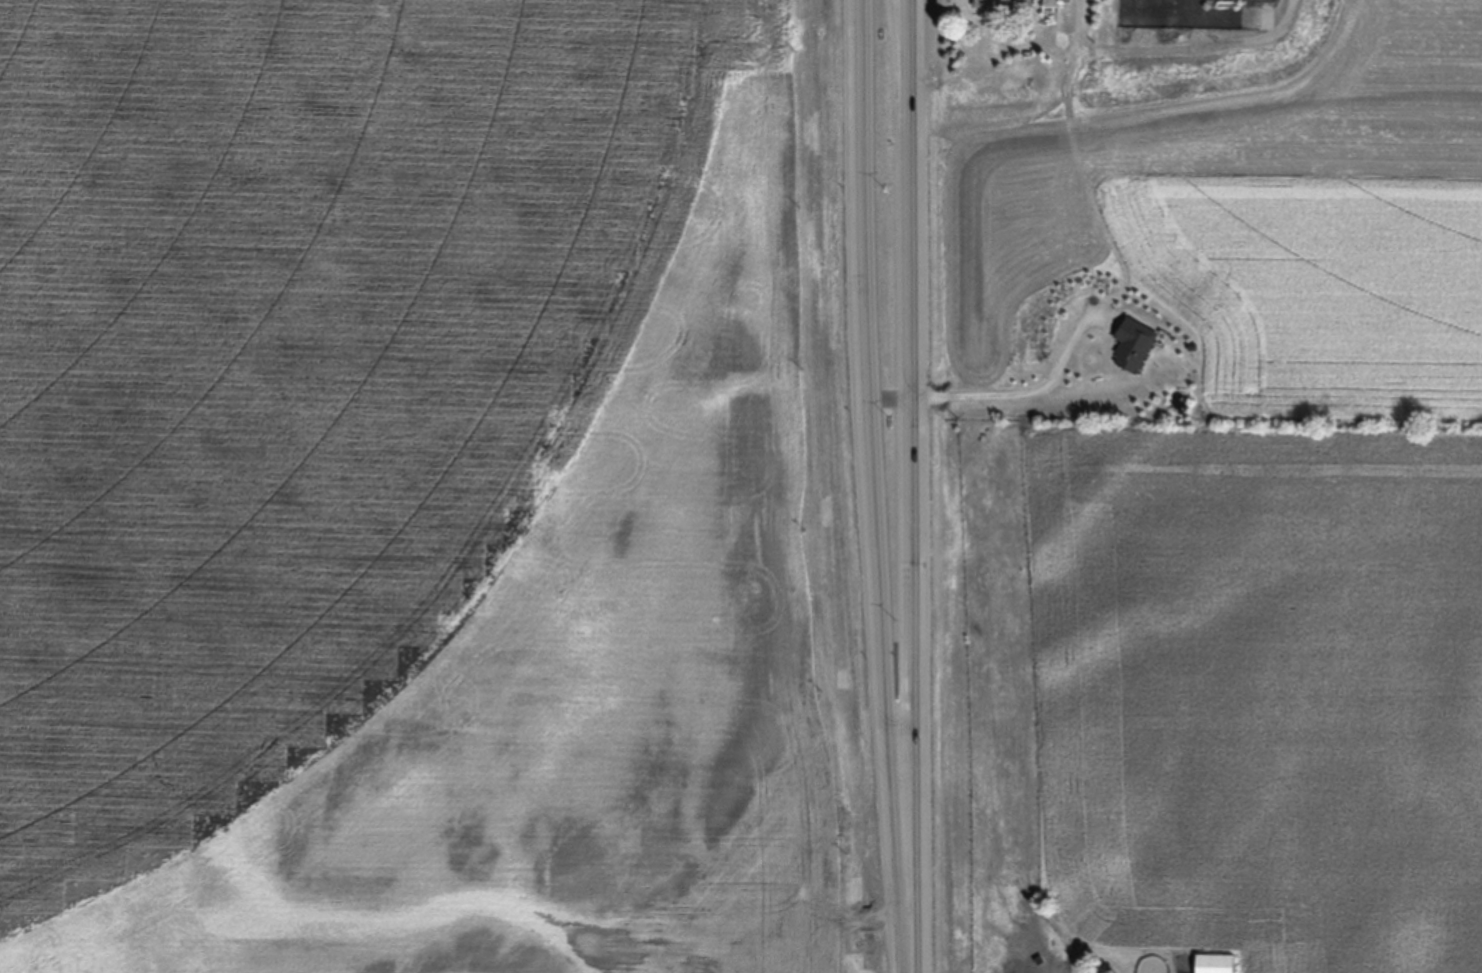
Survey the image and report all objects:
building: (1002, 4)
road: (1027, 389)
road: (916, 468)
road: (869, 469)
crop: (430, 490)
road: (918, 954)
building: (1215, 963)

